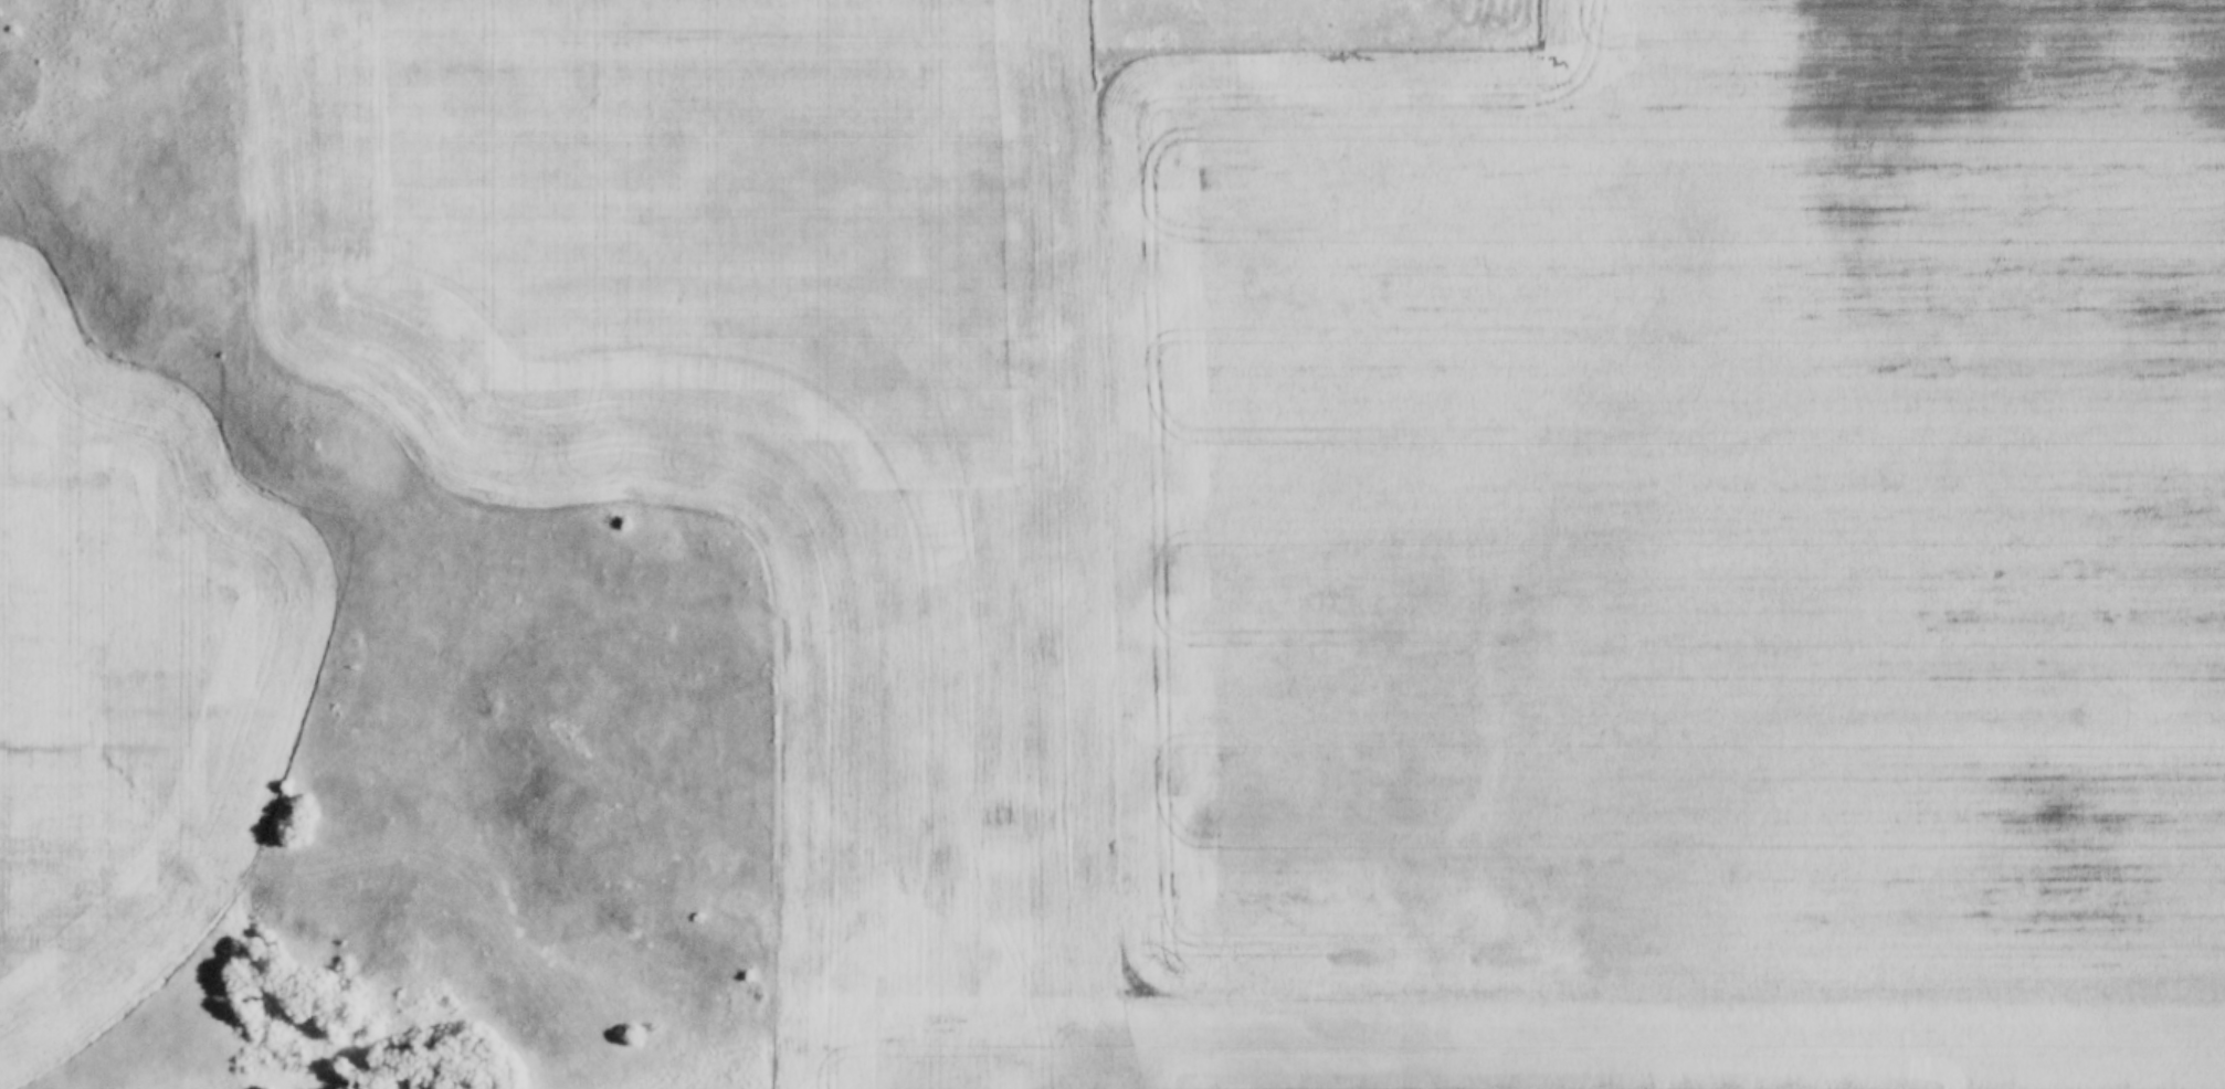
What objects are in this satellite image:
road: (768, 1071)

